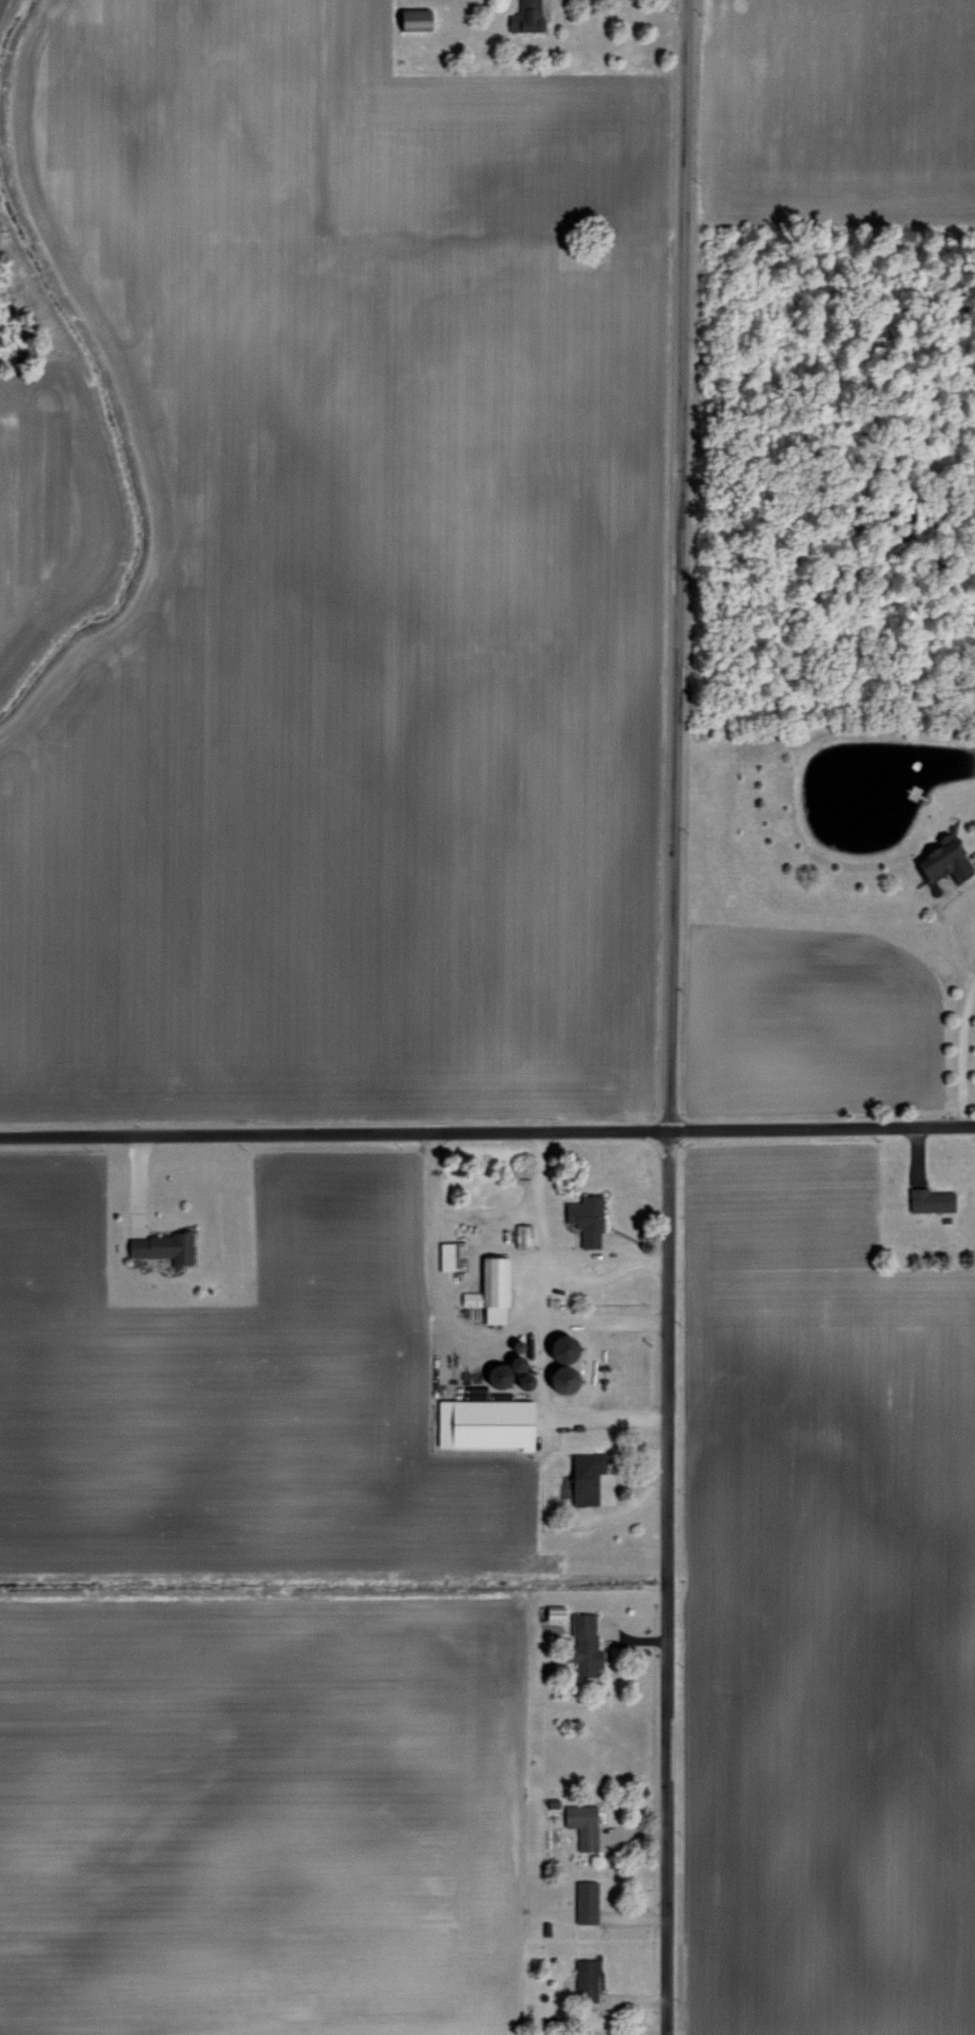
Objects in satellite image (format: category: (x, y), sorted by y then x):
road: (552, 1)
building: (522, 16)
building: (411, 18)
building: (938, 861)
road: (961, 1015)
road: (667, 1017)
road: (487, 1134)
building: (928, 1200)
road: (484, 1215)
building: (584, 1219)
building: (521, 1236)
building: (163, 1247)
road: (546, 1253)
building: (450, 1256)
building: (488, 1288)
road: (465, 1324)
road: (541, 1394)
building: (482, 1419)
building: (583, 1476)
building: (552, 1612)
crop: (823, 1614)
building: (582, 1644)
building: (581, 1824)
building: (584, 1901)
building: (583, 1978)
building: (610, 2002)

